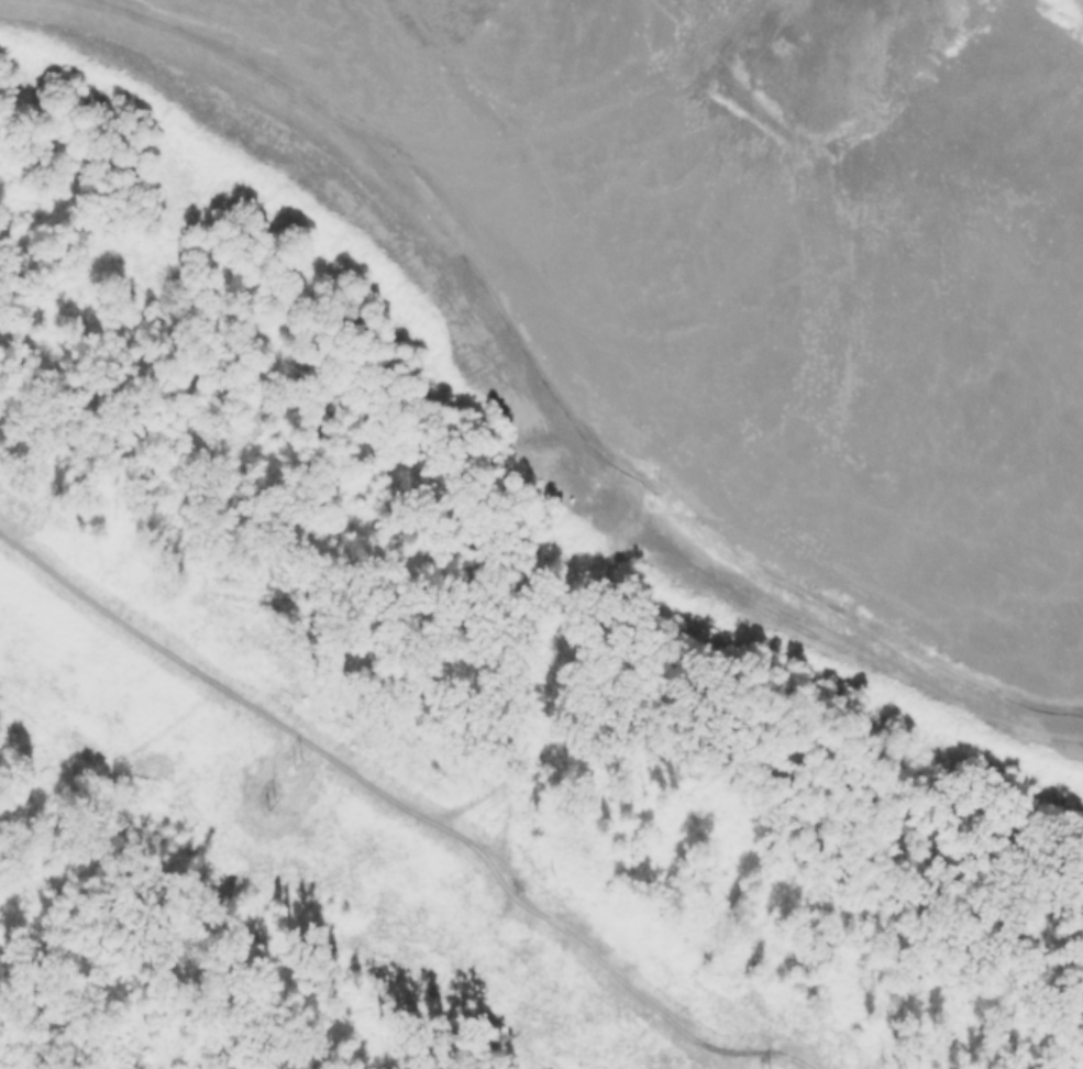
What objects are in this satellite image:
road: (535, 691)
road: (614, 972)

